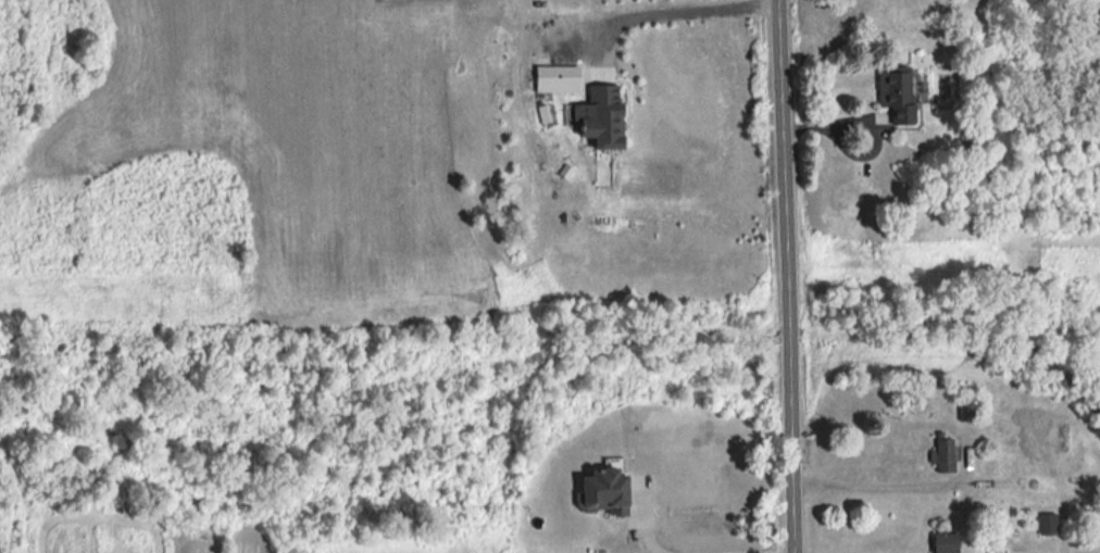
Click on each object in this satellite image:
road: (683, 11)
building: (602, 128)
crop: (289, 133)
road: (830, 134)
building: (860, 169)
road: (787, 276)
building: (599, 494)
road: (645, 533)
building: (942, 544)
road: (790, 552)

